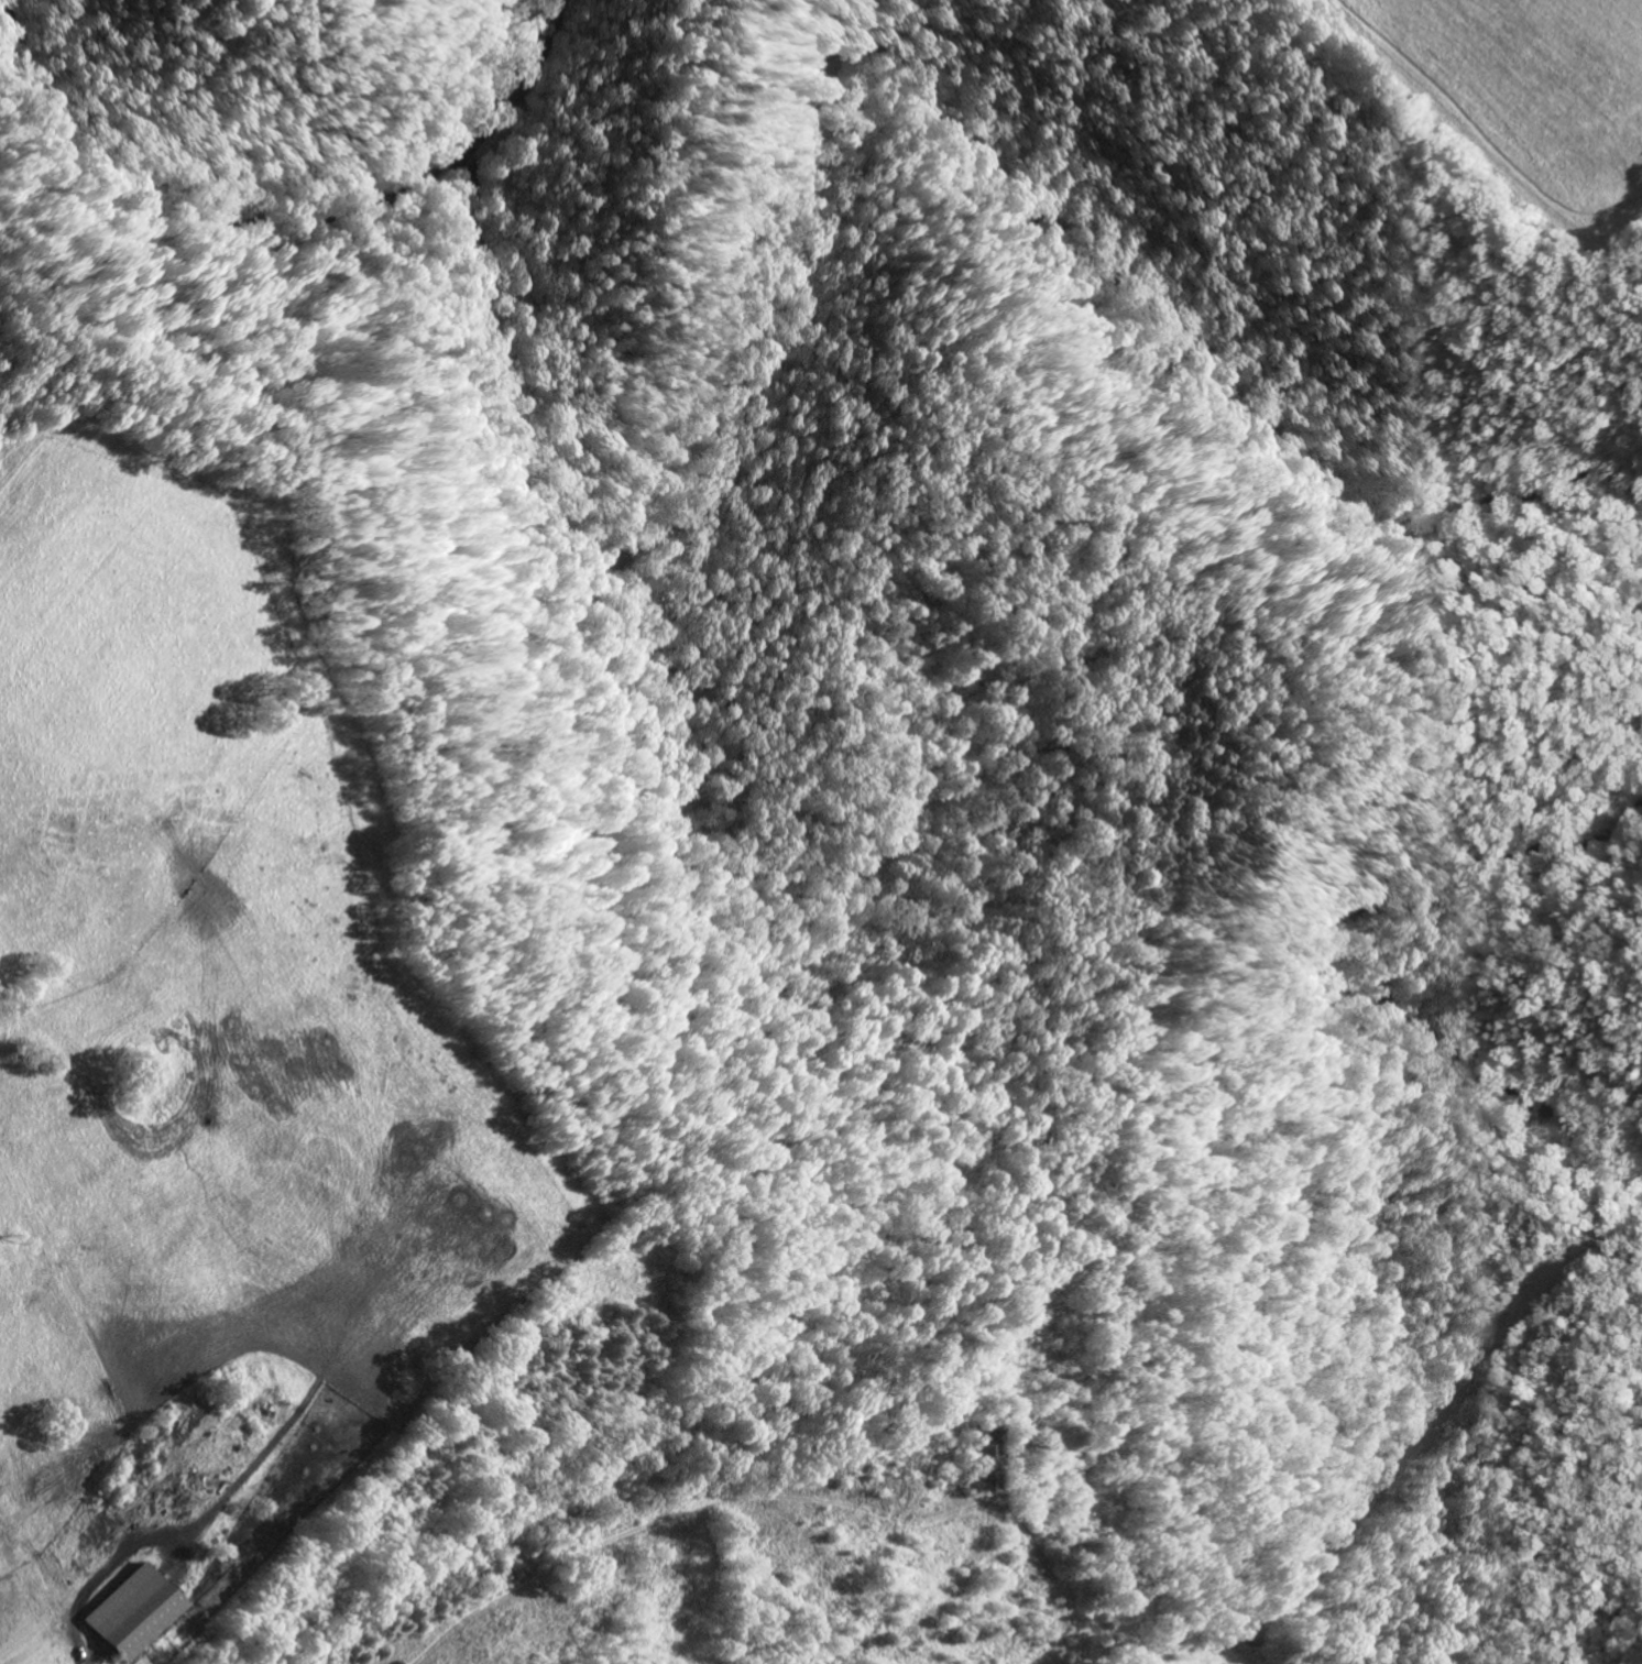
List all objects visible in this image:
road: (1562, 1449)
road: (784, 1495)
building: (129, 1612)
road: (77, 1657)
road: (1226, 1657)

